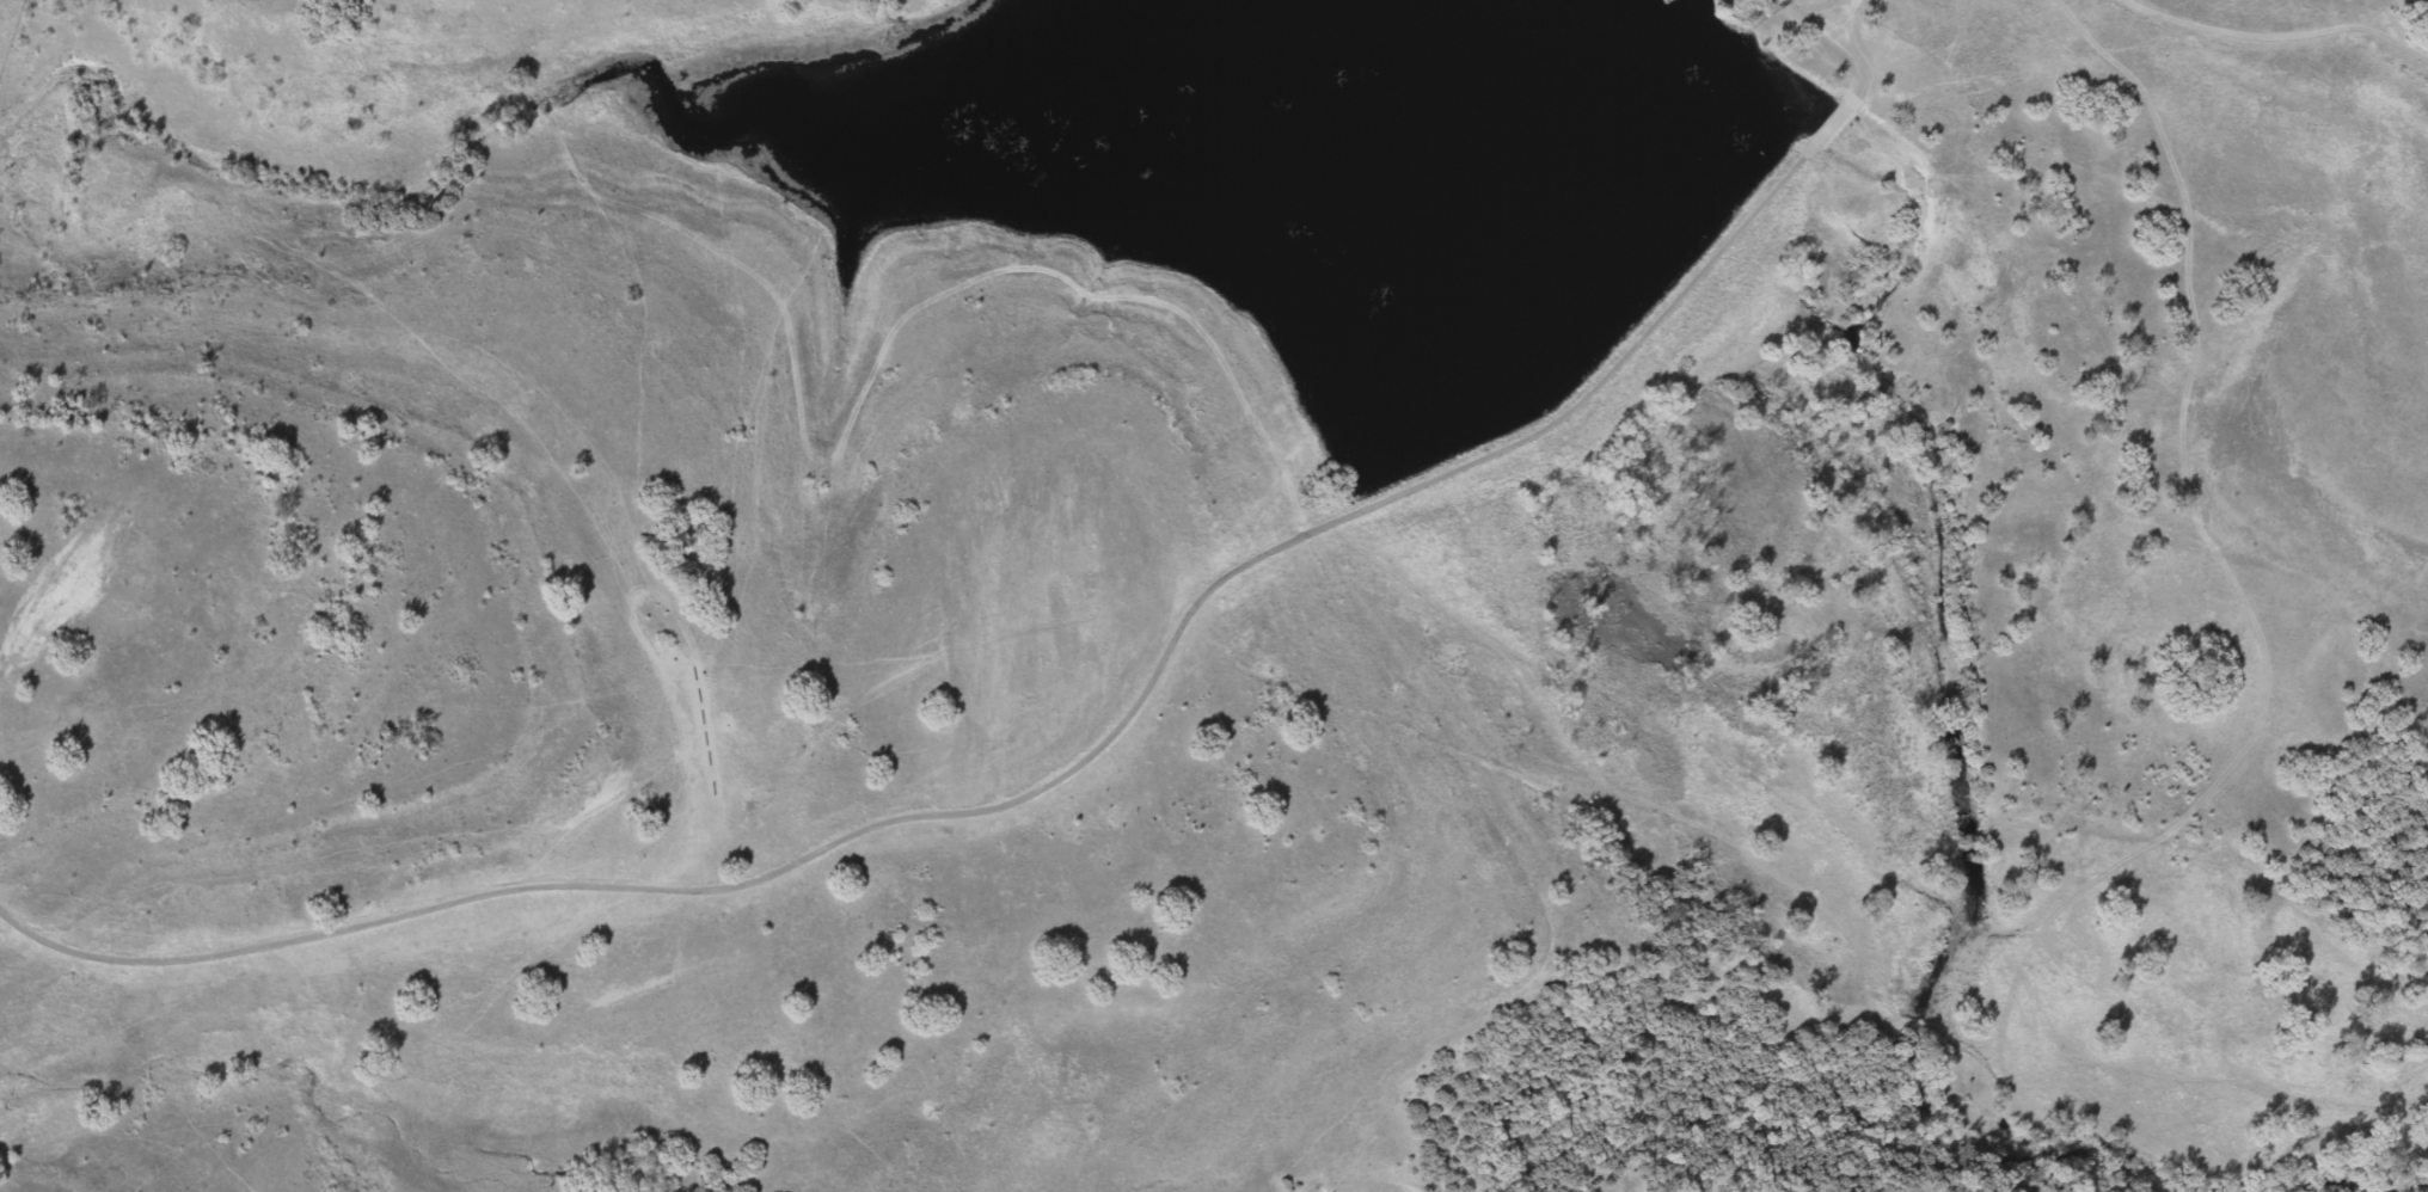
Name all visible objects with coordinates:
dam: (1633, 344)
road: (1084, 754)

